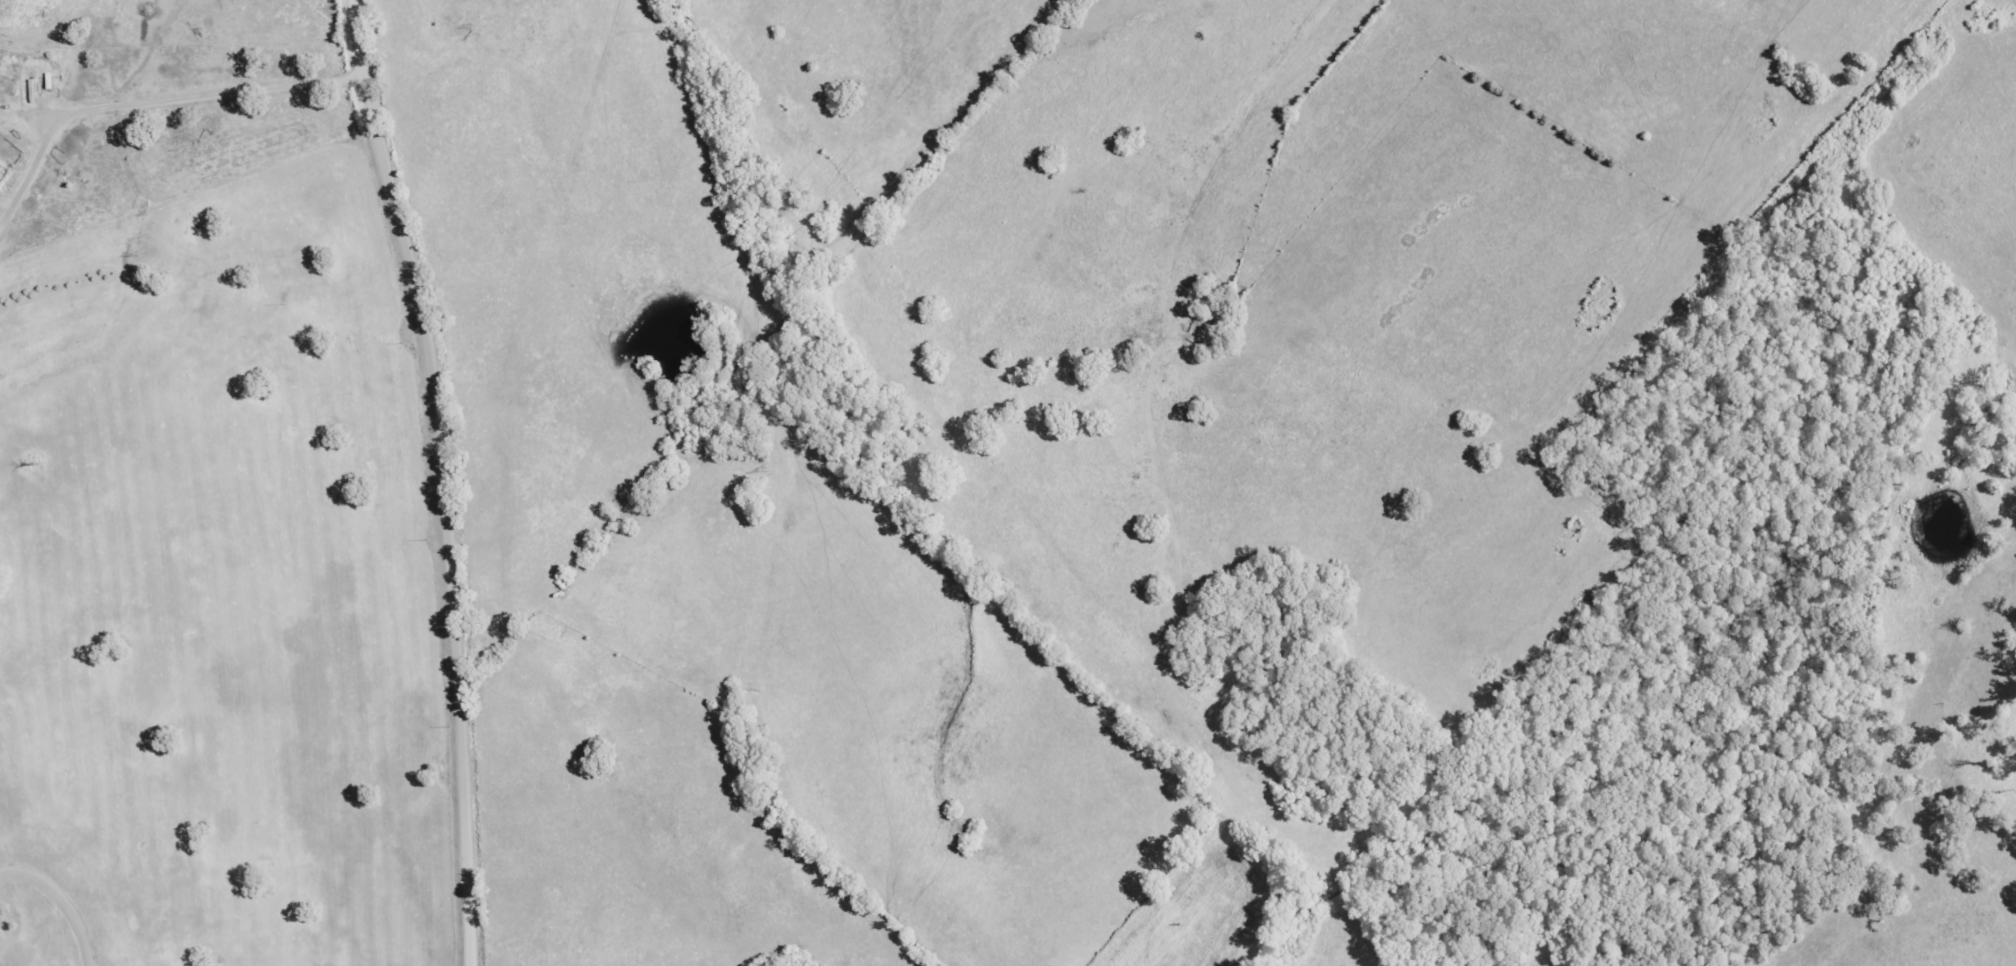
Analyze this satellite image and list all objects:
building: (0, 130)
road: (447, 478)

